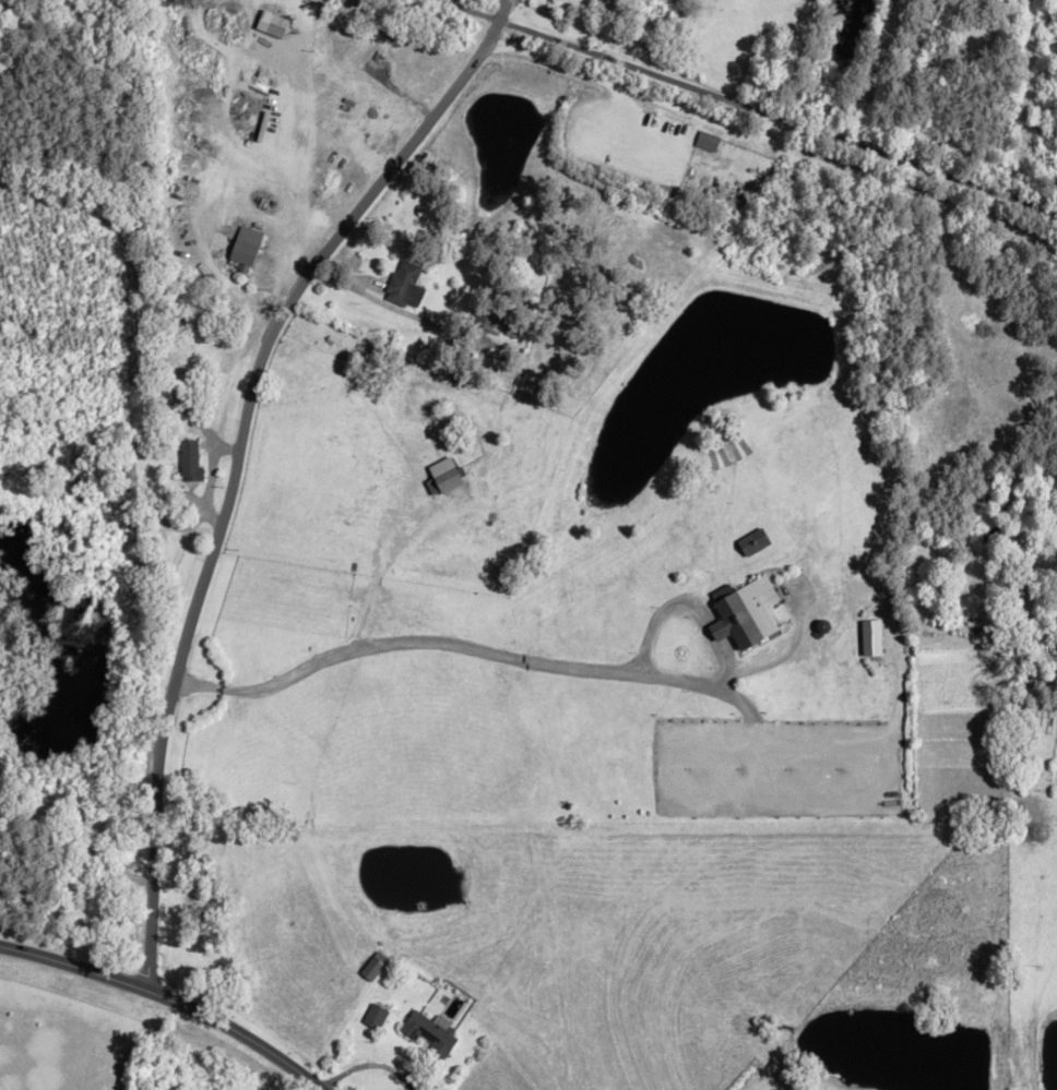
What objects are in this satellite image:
building: (606, 1)
building: (266, 21)
building: (366, 39)
road: (638, 92)
road: (747, 106)
road: (617, 109)
road: (626, 136)
parking lot: (625, 137)
building: (704, 140)
road: (928, 193)
building: (241, 244)
road: (223, 285)
building: (402, 285)
road: (377, 301)
road: (217, 446)
road: (234, 459)
building: (188, 460)
road: (530, 661)
road: (72, 877)
building: (370, 970)
road: (167, 998)
building: (373, 1017)
building: (428, 1034)

